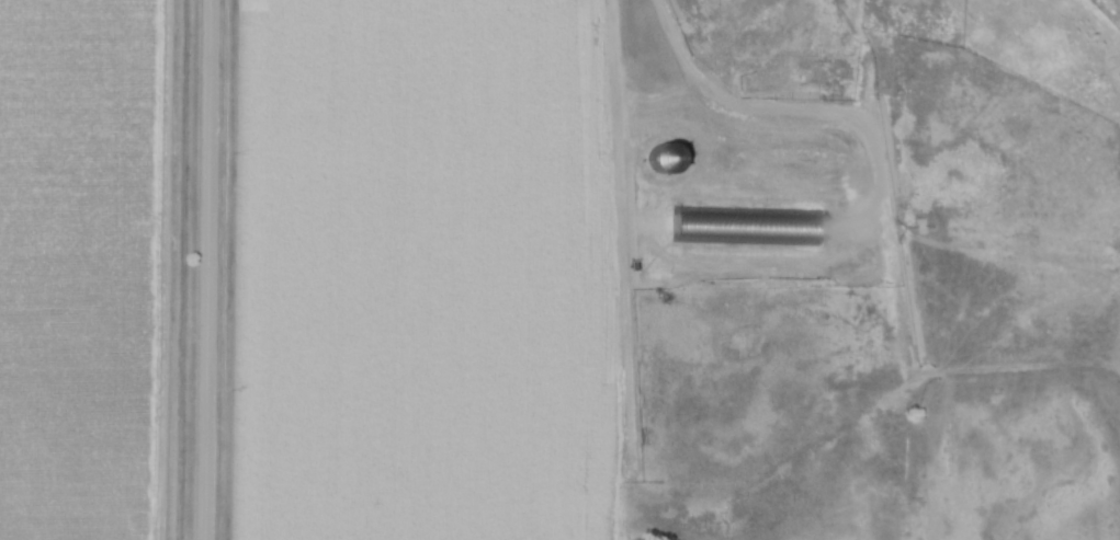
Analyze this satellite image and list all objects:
road: (208, 269)

